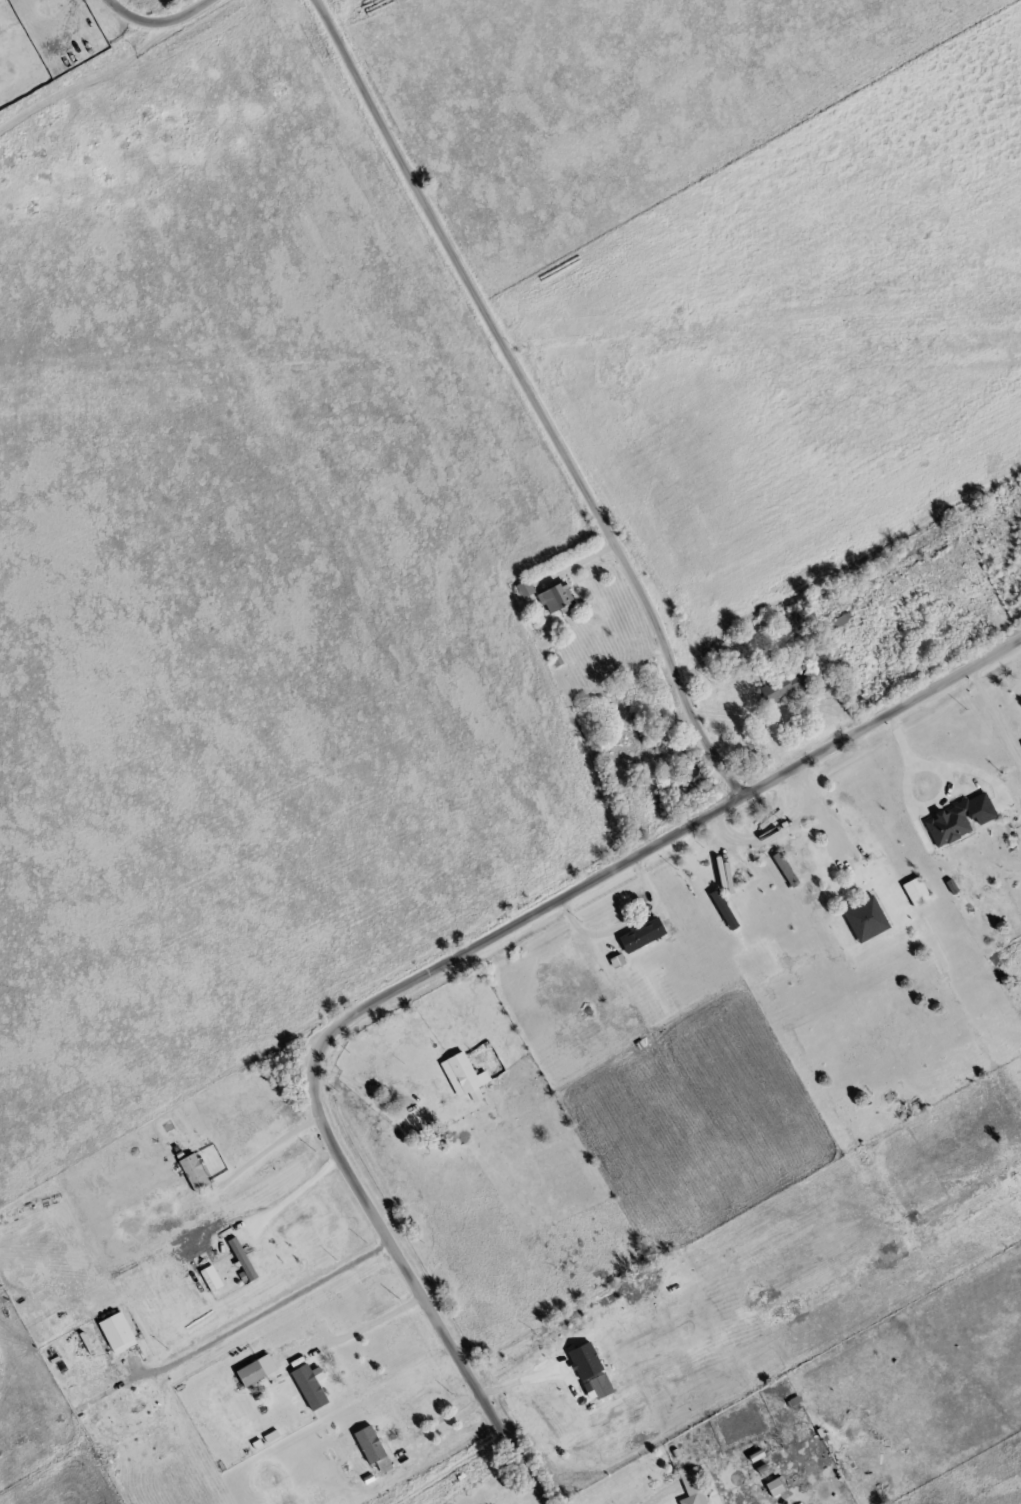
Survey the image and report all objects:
road: (157, 21)
road: (547, 428)
road: (574, 562)
building: (522, 587)
building: (553, 597)
building: (836, 621)
building: (784, 683)
road: (937, 684)
road: (994, 718)
road: (906, 751)
road: (709, 752)
building: (691, 773)
road: (821, 813)
building: (946, 822)
road: (757, 837)
building: (913, 890)
building: (862, 917)
building: (639, 934)
road: (355, 1012)
building: (461, 1075)
road: (361, 1086)
road: (276, 1144)
building: (192, 1171)
road: (297, 1193)
building: (240, 1257)
road: (268, 1300)
road: (368, 1319)
building: (113, 1328)
building: (248, 1372)
road: (526, 1374)
building: (610, 1374)
building: (306, 1385)
building: (597, 1385)
road: (437, 1428)
building: (367, 1443)
building: (686, 1480)
building: (772, 1486)
building: (690, 1499)

